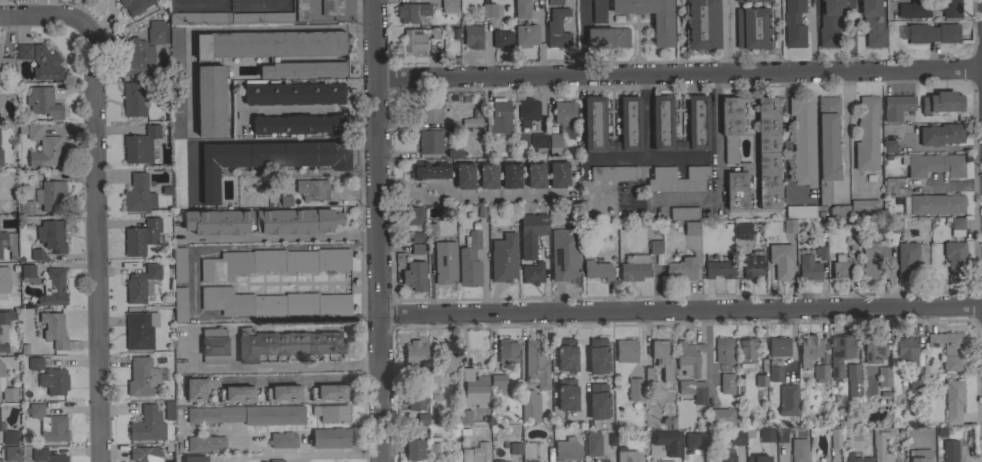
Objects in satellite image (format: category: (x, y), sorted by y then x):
building: (746, 0)
road: (228, 2)
building: (554, 2)
building: (134, 5)
building: (448, 5)
building: (332, 7)
building: (950, 8)
building: (522, 9)
building: (914, 9)
building: (301, 10)
building: (488, 10)
building: (410, 11)
building: (598, 11)
building: (229, 18)
building: (829, 23)
building: (872, 23)
building: (702, 24)
building: (793, 24)
building: (752, 27)
road: (235, 28)
building: (557, 29)
building: (662, 30)
building: (157, 32)
building: (933, 33)
road: (849, 34)
building: (526, 35)
road: (726, 35)
building: (472, 36)
road: (572, 36)
road: (582, 36)
building: (607, 37)
building: (501, 38)
building: (417, 39)
building: (269, 43)
building: (24, 51)
building: (137, 57)
building: (45, 63)
building: (6, 65)
building: (303, 69)
road: (678, 70)
road: (644, 84)
road: (579, 86)
building: (293, 93)
building: (132, 99)
building: (210, 100)
building: (43, 102)
building: (941, 102)
building: (896, 106)
road: (306, 110)
building: (429, 110)
building: (527, 111)
building: (564, 112)
building: (177, 114)
building: (498, 119)
building: (471, 122)
building: (662, 122)
building: (697, 122)
building: (593, 123)
building: (629, 123)
building: (298, 124)
building: (730, 126)
road: (844, 134)
building: (867, 134)
building: (941, 134)
road: (851, 138)
building: (802, 140)
building: (430, 142)
building: (538, 142)
building: (554, 143)
road: (786, 144)
building: (140, 145)
building: (680, 145)
building: (826, 146)
building: (888, 146)
building: (44, 148)
road: (716, 149)
building: (767, 152)
building: (454, 153)
building: (0, 158)
road: (613, 158)
building: (266, 159)
building: (935, 165)
building: (428, 170)
building: (613, 172)
building: (534, 173)
building: (511, 174)
building: (558, 174)
building: (464, 175)
building: (487, 175)
building: (677, 179)
building: (190, 184)
road: (446, 188)
road: (395, 189)
building: (316, 190)
building: (736, 190)
building: (138, 194)
road: (496, 194)
road: (413, 195)
building: (53, 196)
road: (706, 197)
road: (90, 199)
building: (933, 204)
building: (863, 206)
building: (26, 207)
building: (800, 211)
building: (839, 211)
building: (478, 212)
building: (683, 213)
building: (411, 215)
building: (296, 221)
building: (218, 222)
building: (895, 224)
building: (788, 225)
building: (879, 226)
building: (956, 226)
building: (691, 228)
building: (432, 229)
road: (377, 230)
building: (743, 230)
building: (530, 233)
building: (52, 235)
building: (141, 236)
road: (282, 236)
building: (417, 237)
building: (9, 243)
building: (655, 246)
building: (417, 249)
building: (821, 253)
building: (37, 254)
building: (564, 254)
building: (471, 257)
building: (503, 258)
building: (955, 258)
building: (906, 259)
building: (780, 260)
building: (872, 260)
building: (274, 262)
building: (445, 262)
building: (178, 264)
building: (753, 264)
building: (634, 267)
building: (841, 267)
building: (808, 268)
building: (681, 269)
building: (718, 269)
building: (597, 270)
building: (532, 273)
building: (28, 274)
building: (414, 275)
building: (6, 282)
building: (141, 283)
road: (191, 283)
road: (343, 284)
building: (53, 288)
building: (273, 303)
building: (180, 304)
road: (680, 311)
building: (4, 327)
building: (53, 329)
building: (140, 329)
building: (285, 343)
building: (213, 345)
building: (778, 346)
building: (874, 348)
building: (949, 348)
building: (723, 349)
building: (808, 349)
building: (625, 350)
building: (906, 350)
building: (506, 351)
road: (707, 351)
building: (746, 352)
building: (840, 352)
building: (565, 354)
building: (597, 355)
building: (447, 357)
building: (688, 357)
building: (415, 358)
road: (581, 362)
building: (35, 363)
building: (536, 363)
building: (659, 363)
road: (273, 366)
building: (774, 370)
building: (820, 372)
building: (142, 376)
building: (884, 376)
building: (853, 379)
building: (760, 380)
building: (53, 381)
building: (433, 383)
building: (499, 383)
building: (727, 383)
building: (6, 388)
building: (195, 388)
building: (474, 388)
building: (691, 388)
building: (634, 389)
building: (915, 389)
building: (328, 392)
building: (283, 393)
building: (236, 394)
building: (566, 394)
building: (787, 399)
building: (415, 400)
building: (598, 400)
building: (953, 401)
building: (530, 406)
building: (169, 410)
building: (330, 413)
building: (248, 414)
building: (465, 416)
building: (720, 416)
building: (422, 418)
building: (49, 424)
building: (147, 425)
building: (1, 427)
building: (766, 434)
building: (781, 435)
building: (10, 437)
building: (737, 437)
building: (330, 438)
building: (835, 438)
building: (282, 440)
building: (919, 440)
building: (667, 441)
building: (697, 441)
building: (593, 443)
building: (206, 444)
building: (881, 444)
building: (437, 448)
building: (515, 448)
building: (413, 449)
building: (567, 450)
building: (799, 450)
building: (949, 450)
building: (530, 451)
road: (324, 452)
building: (11, 453)
building: (476, 453)
building: (145, 454)
building: (45, 455)
building: (625, 455)
building: (919, 455)
building: (725, 457)
building: (852, 457)
building: (194, 458)
building: (757, 458)
road: (707, 459)
building: (0, 460)
building: (276, 460)
building: (866, 460)
building: (499, 461)
building: (603, 461)
building: (666, 461)

